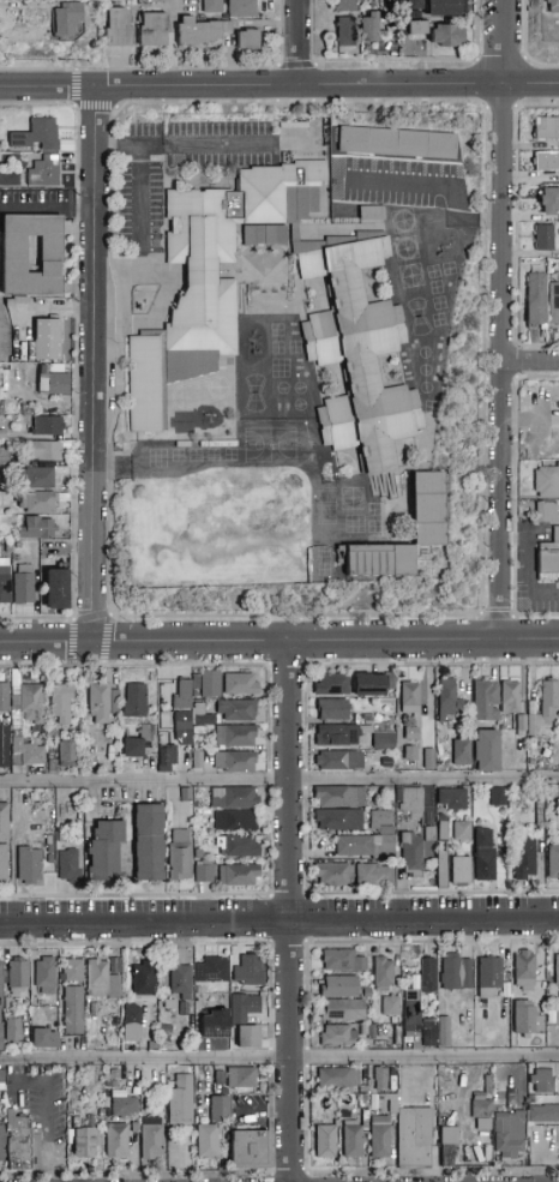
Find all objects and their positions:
building: (211, 6)
building: (345, 6)
building: (437, 6)
building: (551, 6)
building: (241, 8)
building: (66, 18)
building: (118, 26)
building: (374, 26)
building: (416, 28)
building: (152, 30)
building: (200, 31)
road: (281, 32)
building: (343, 32)
building: (445, 36)
building: (247, 40)
road: (296, 42)
road: (504, 42)
road: (525, 47)
road: (392, 60)
road: (500, 60)
road: (296, 66)
road: (139, 70)
road: (278, 85)
road: (482, 107)
road: (499, 107)
road: (76, 108)
building: (545, 128)
building: (399, 144)
road: (180, 145)
building: (42, 151)
building: (546, 161)
parking lot: (176, 164)
road: (435, 184)
road: (139, 197)
building: (549, 202)
road: (46, 209)
building: (371, 214)
road: (515, 227)
building: (543, 238)
building: (31, 254)
building: (535, 300)
building: (553, 304)
building: (350, 328)
building: (47, 340)
road: (515, 360)
road: (530, 360)
road: (500, 361)
road: (76, 362)
road: (91, 364)
building: (53, 383)
building: (47, 425)
building: (181, 426)
building: (44, 451)
building: (2, 455)
building: (37, 478)
building: (546, 480)
road: (515, 497)
building: (38, 503)
building: (426, 508)
building: (546, 512)
building: (35, 528)
building: (548, 559)
building: (5, 581)
building: (23, 584)
building: (55, 589)
road: (497, 616)
road: (95, 617)
road: (481, 638)
road: (278, 640)
road: (186, 666)
building: (211, 683)
building: (241, 684)
building: (331, 684)
building: (369, 684)
building: (182, 694)
building: (509, 696)
building: (4, 697)
building: (410, 698)
building: (449, 698)
building: (549, 698)
building: (28, 701)
building: (61, 701)
building: (134, 701)
building: (485, 701)
building: (101, 703)
building: (332, 710)
building: (227, 712)
building: (525, 725)
building: (184, 727)
building: (411, 733)
building: (235, 736)
building: (337, 736)
building: (381, 738)
building: (138, 742)
building: (4, 746)
building: (486, 750)
building: (461, 751)
building: (30, 752)
building: (166, 752)
building: (67, 754)
building: (410, 754)
building: (343, 761)
building: (234, 762)
road: (269, 780)
road: (279, 781)
building: (339, 797)
building: (498, 797)
building: (234, 798)
building: (451, 799)
building: (409, 804)
building: (338, 820)
building: (380, 820)
building: (235, 821)
building: (462, 832)
building: (4, 842)
building: (149, 842)
building: (241, 847)
building: (359, 847)
building: (104, 851)
building: (411, 854)
building: (485, 854)
building: (180, 856)
building: (523, 858)
building: (553, 862)
building: (29, 865)
building: (68, 866)
building: (441, 869)
building: (203, 871)
building: (461, 871)
building: (239, 875)
building: (332, 875)
building: (374, 875)
road: (186, 894)
road: (289, 910)
road: (278, 919)
building: (343, 961)
building: (112, 964)
building: (211, 968)
building: (73, 971)
building: (525, 971)
building: (557, 971)
building: (383, 973)
building: (456, 973)
building: (44, 974)
building: (18, 976)
building: (428, 976)
building: (250, 977)
building: (488, 978)
building: (101, 979)
building: (180, 982)
building: (143, 983)
building: (338, 986)
building: (390, 1006)
building: (240, 1009)
building: (73, 1010)
building: (342, 1010)
building: (409, 1012)
building: (0, 1013)
building: (527, 1019)
building: (209, 1021)
building: (132, 1024)
building: (12, 1030)
building: (443, 1032)
building: (336, 1034)
building: (248, 1037)
building: (426, 1037)
building: (43, 1039)
road: (278, 1057)
building: (0, 1073)
building: (238, 1075)
building: (338, 1079)
building: (380, 1079)
building: (542, 1081)
building: (179, 1097)
building: (391, 1103)
building: (121, 1104)
building: (362, 1105)
building: (217, 1106)
building: (481, 1110)
road: (46, 1111)
building: (543, 1115)
building: (483, 1124)
building: (149, 1135)
building: (509, 1135)
building: (449, 1136)
building: (414, 1138)
building: (83, 1139)
building: (113, 1139)
building: (204, 1139)
building: (380, 1140)
building: (351, 1141)
building: (325, 1142)
building: (543, 1144)
building: (0, 1146)
building: (246, 1147)
building: (25, 1151)
building: (444, 1153)
building: (259, 1159)

